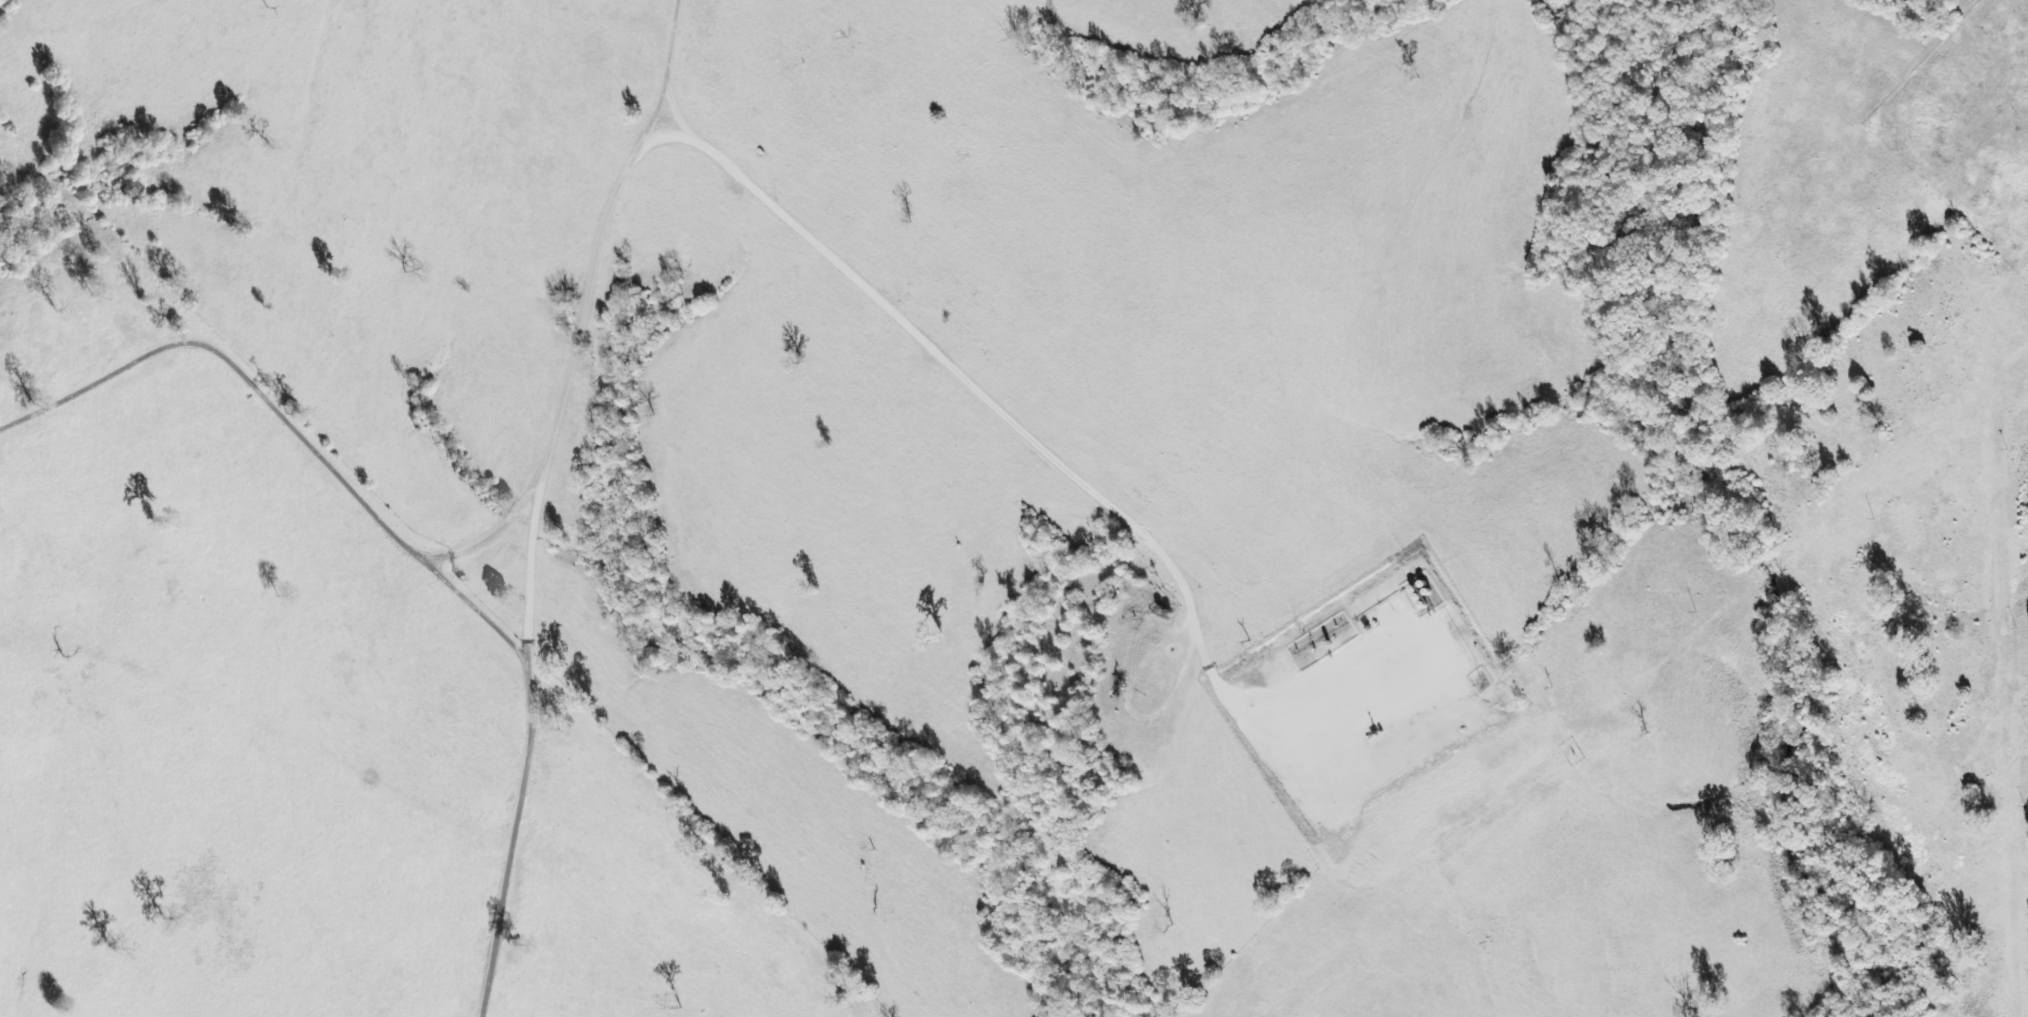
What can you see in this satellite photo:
petroleum well: (1368, 733)

